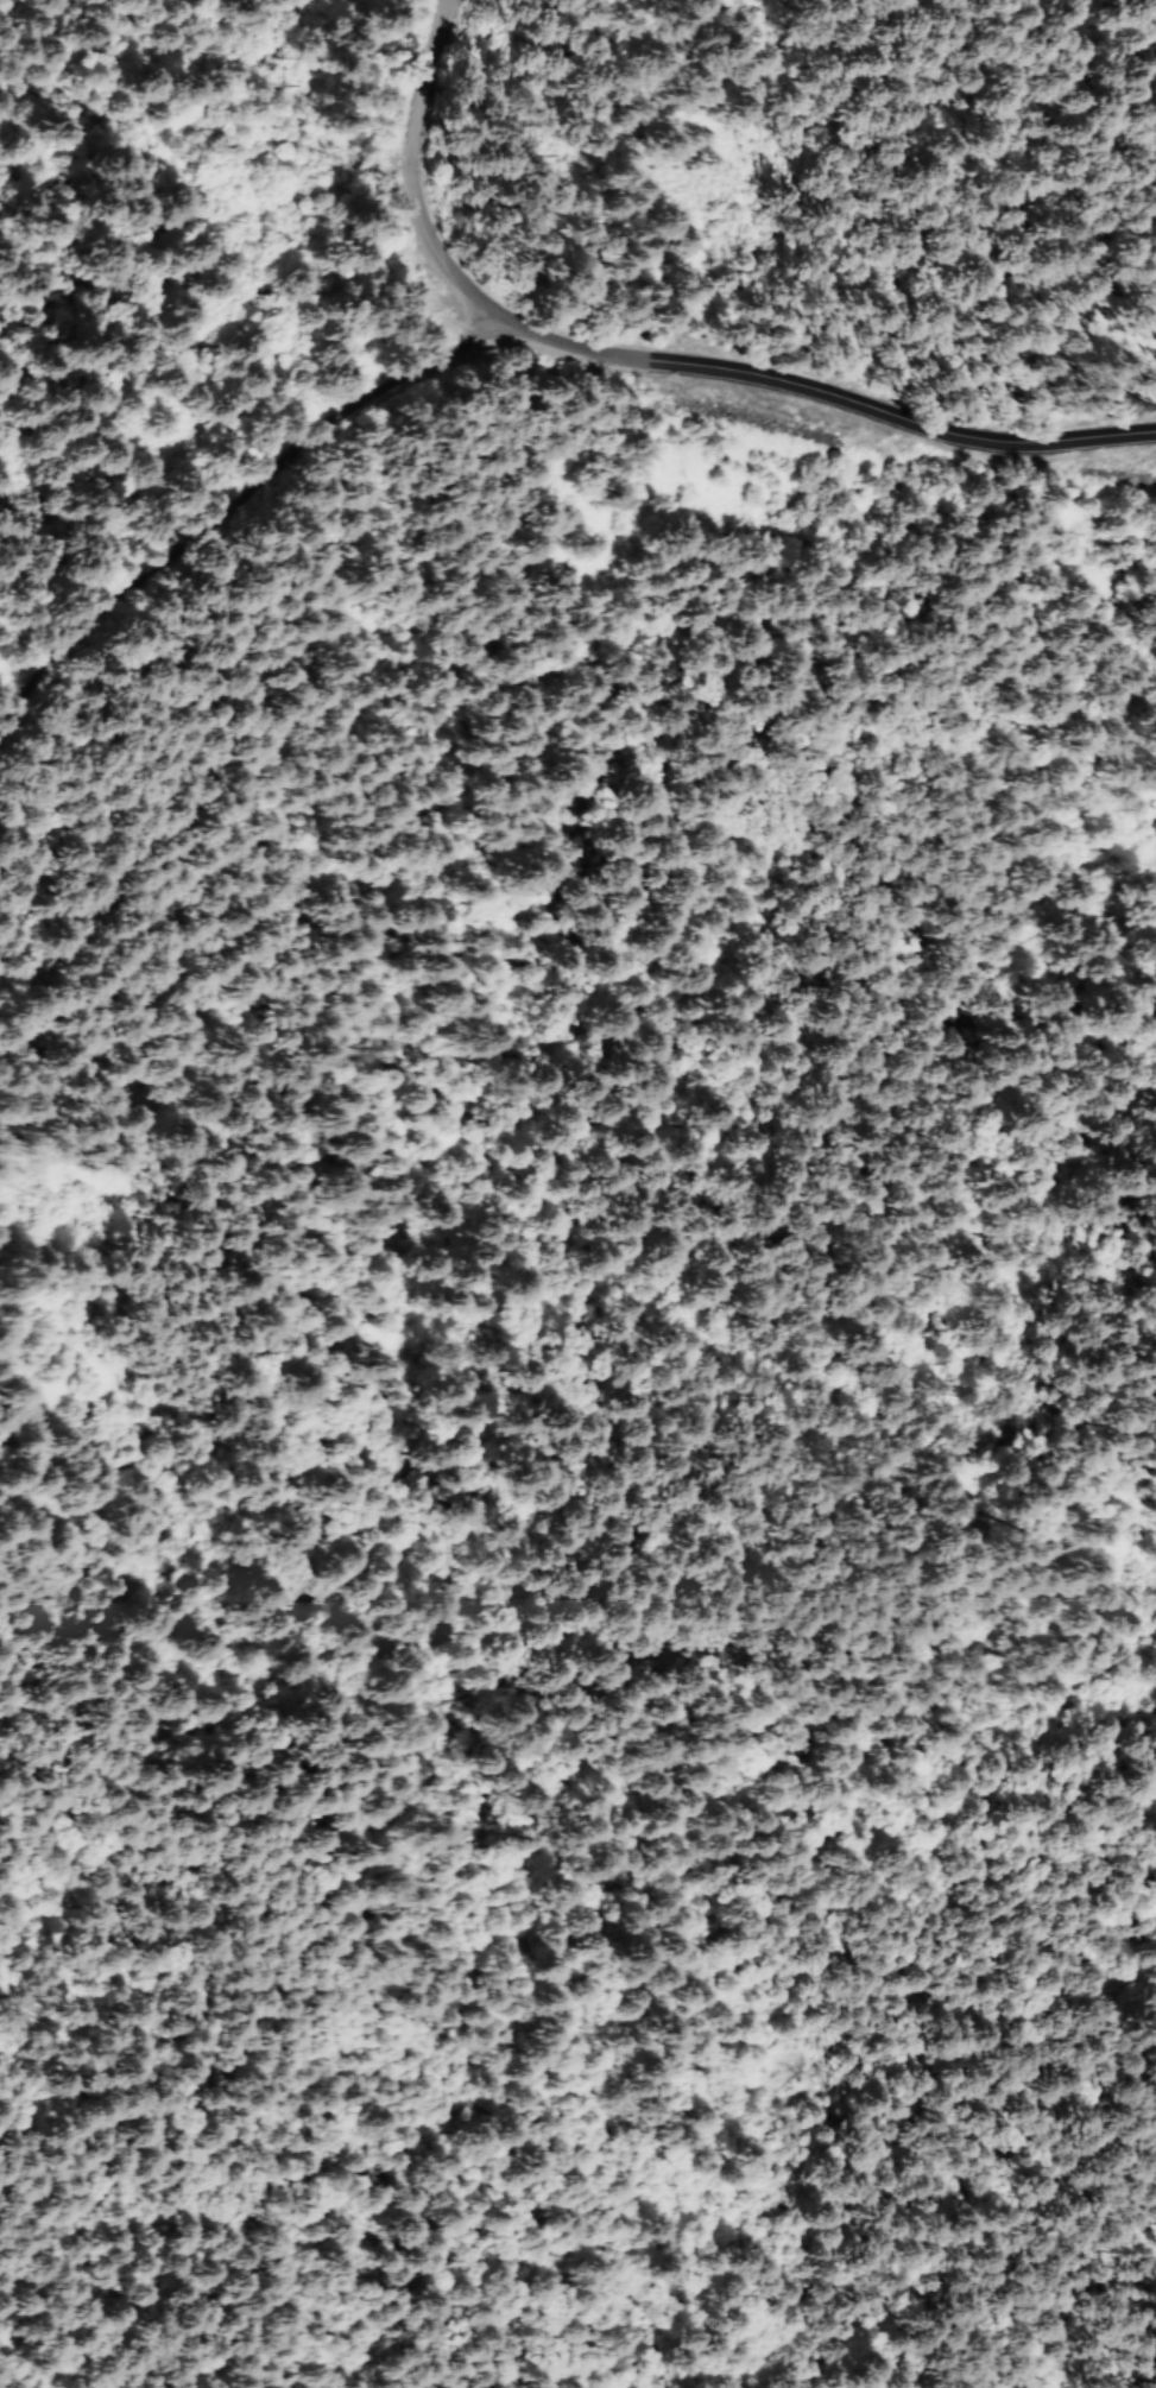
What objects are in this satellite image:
road: (648, 353)
road: (200, 468)

